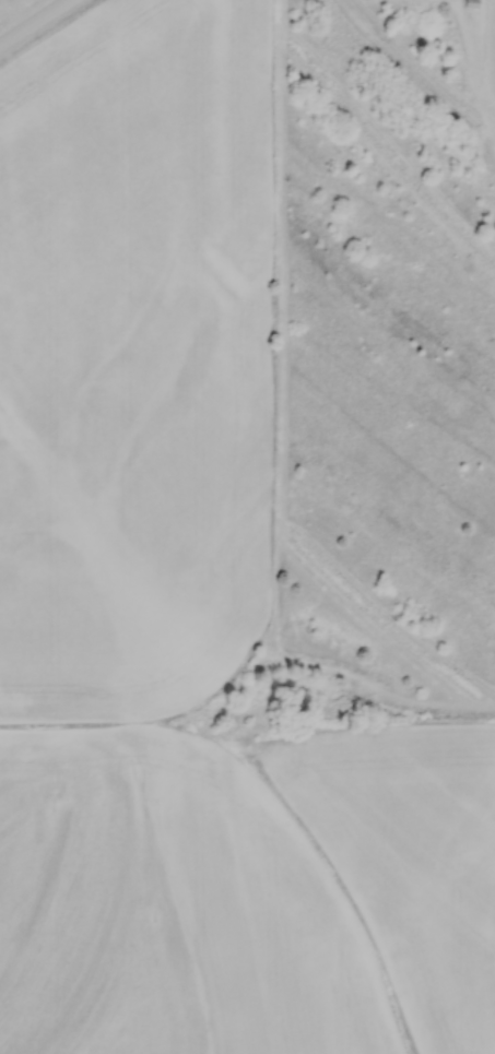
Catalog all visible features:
road: (35, 23)
crop: (132, 355)
crop: (247, 895)

